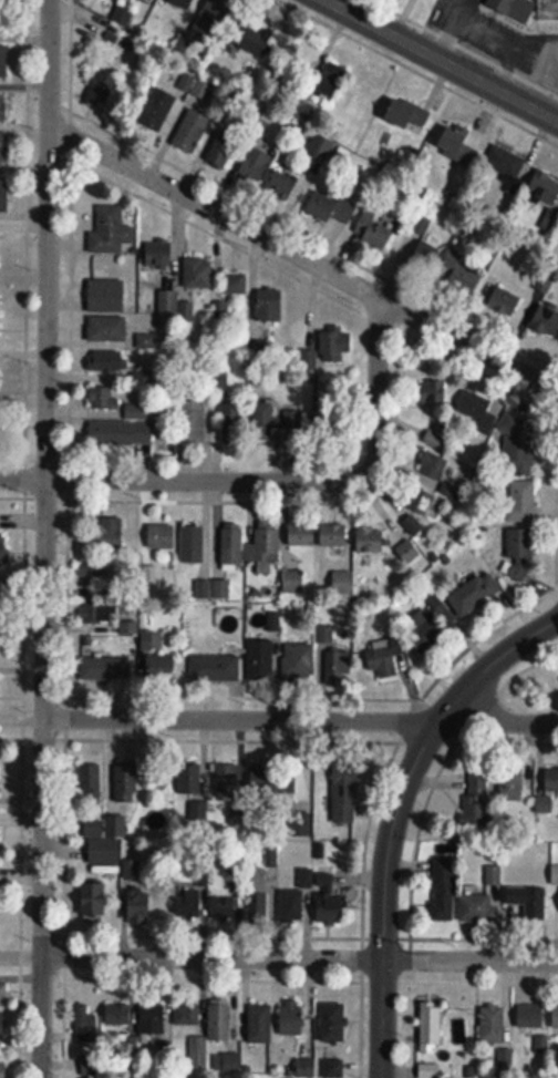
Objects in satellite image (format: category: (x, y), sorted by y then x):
building: (183, 3)
building: (515, 8)
building: (548, 10)
building: (1, 12)
building: (207, 14)
road: (442, 25)
road: (496, 35)
building: (251, 41)
building: (4, 60)
road: (442, 60)
building: (329, 81)
building: (3, 109)
building: (161, 110)
building: (190, 133)
building: (458, 146)
building: (4, 150)
building: (223, 150)
building: (255, 165)
building: (506, 165)
building: (285, 188)
building: (3, 195)
building: (331, 208)
building: (112, 232)
building: (375, 234)
building: (159, 255)
building: (421, 257)
road: (304, 258)
building: (198, 274)
building: (464, 274)
building: (234, 284)
building: (106, 297)
building: (168, 297)
building: (504, 301)
building: (269, 305)
building: (546, 321)
building: (106, 329)
building: (146, 340)
building: (328, 350)
building: (108, 361)
building: (221, 382)
building: (432, 393)
building: (104, 399)
building: (477, 410)
building: (137, 413)
building: (263, 419)
building: (194, 422)
building: (235, 423)
building: (121, 434)
building: (433, 439)
building: (519, 443)
building: (436, 469)
road: (272, 483)
building: (521, 502)
building: (412, 510)
building: (106, 535)
building: (301, 536)
building: (333, 536)
building: (162, 537)
road: (44, 538)
building: (370, 541)
building: (1, 544)
building: (192, 545)
building: (262, 545)
building: (231, 546)
building: (407, 552)
building: (519, 555)
building: (94, 572)
building: (292, 582)
building: (342, 584)
building: (474, 594)
building: (101, 614)
building: (431, 625)
building: (384, 658)
building: (260, 660)
building: (298, 661)
building: (338, 666)
building: (159, 667)
building: (105, 668)
building: (215, 668)
road: (301, 720)
building: (189, 779)
building: (227, 779)
building: (278, 779)
building: (127, 780)
building: (551, 780)
building: (91, 781)
building: (510, 786)
building: (345, 792)
building: (475, 803)
building: (544, 805)
road: (395, 815)
building: (104, 840)
building: (257, 893)
building: (443, 896)
building: (294, 899)
building: (329, 899)
building: (484, 900)
building: (94, 901)
building: (529, 902)
building: (189, 903)
building: (139, 904)
building: (226, 905)
road: (299, 958)
building: (2, 993)
building: (555, 1013)
building: (117, 1014)
building: (187, 1014)
building: (292, 1017)
building: (530, 1017)
building: (87, 1019)
building: (152, 1019)
building: (219, 1020)
building: (333, 1021)
building: (431, 1021)
building: (259, 1023)
building: (492, 1023)
building: (1, 1025)
building: (542, 1044)
building: (197, 1055)
building: (231, 1062)
building: (505, 1064)
building: (3, 1068)
building: (333, 1068)
building: (430, 1070)

